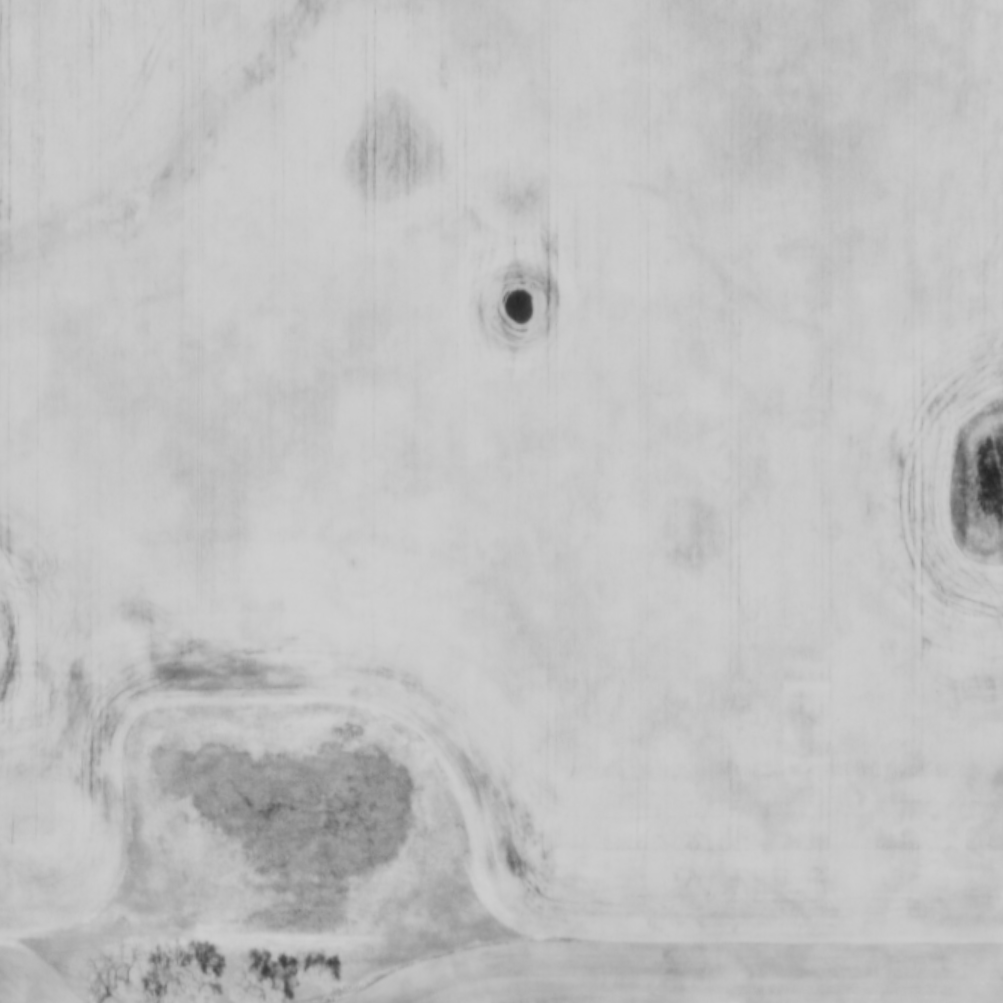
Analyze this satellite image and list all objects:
road: (501, 938)

